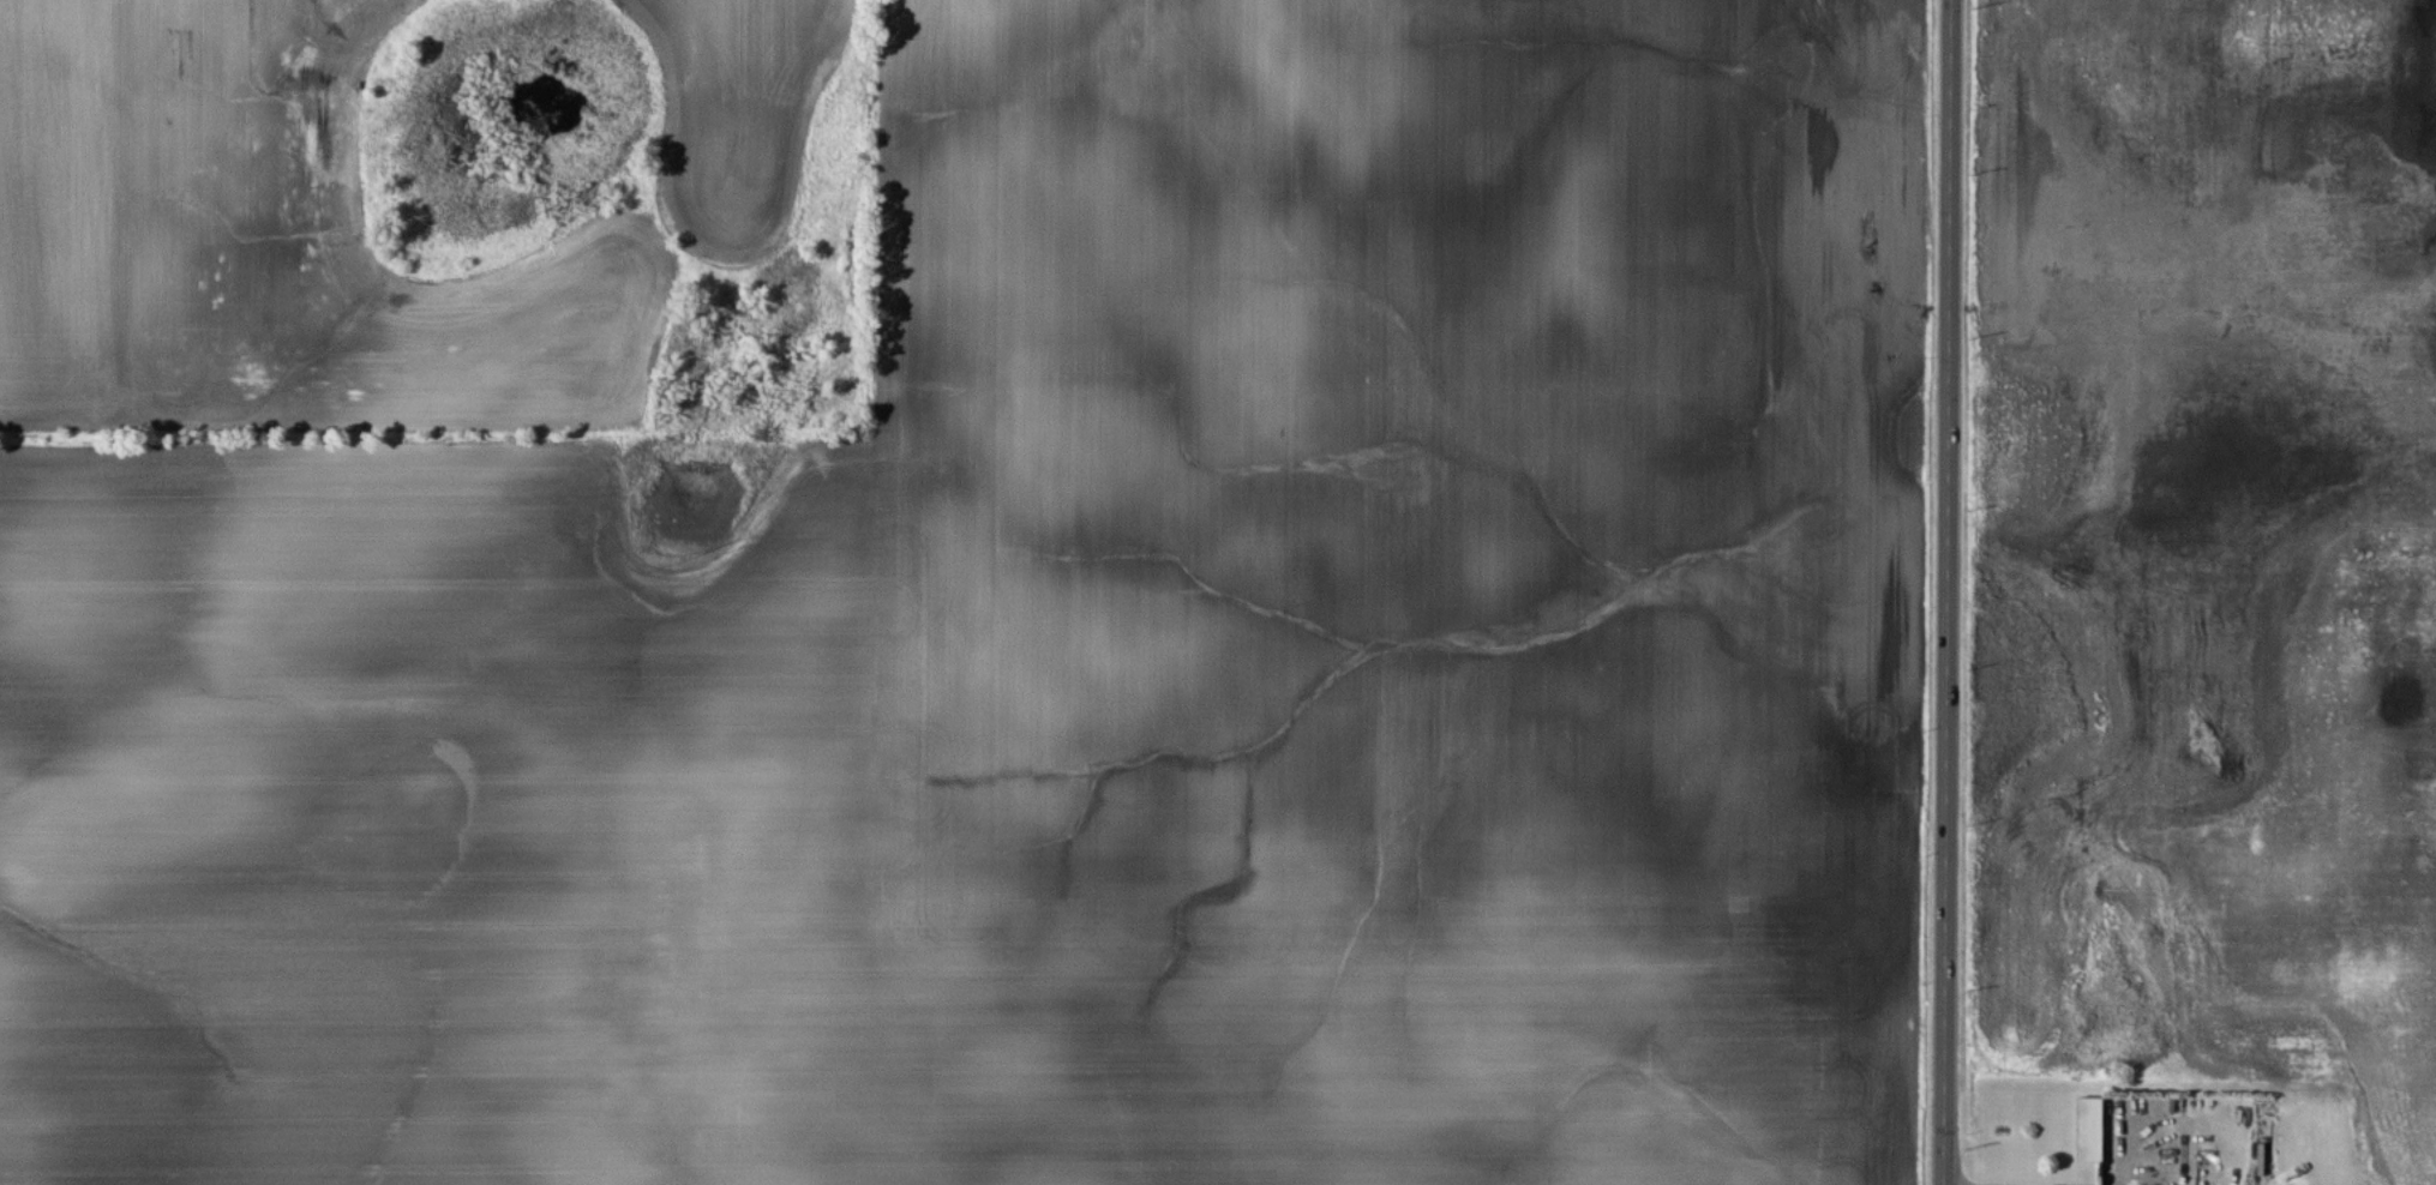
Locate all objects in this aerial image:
road: (1949, 592)
building: (2094, 1132)
building: (2264, 1161)

